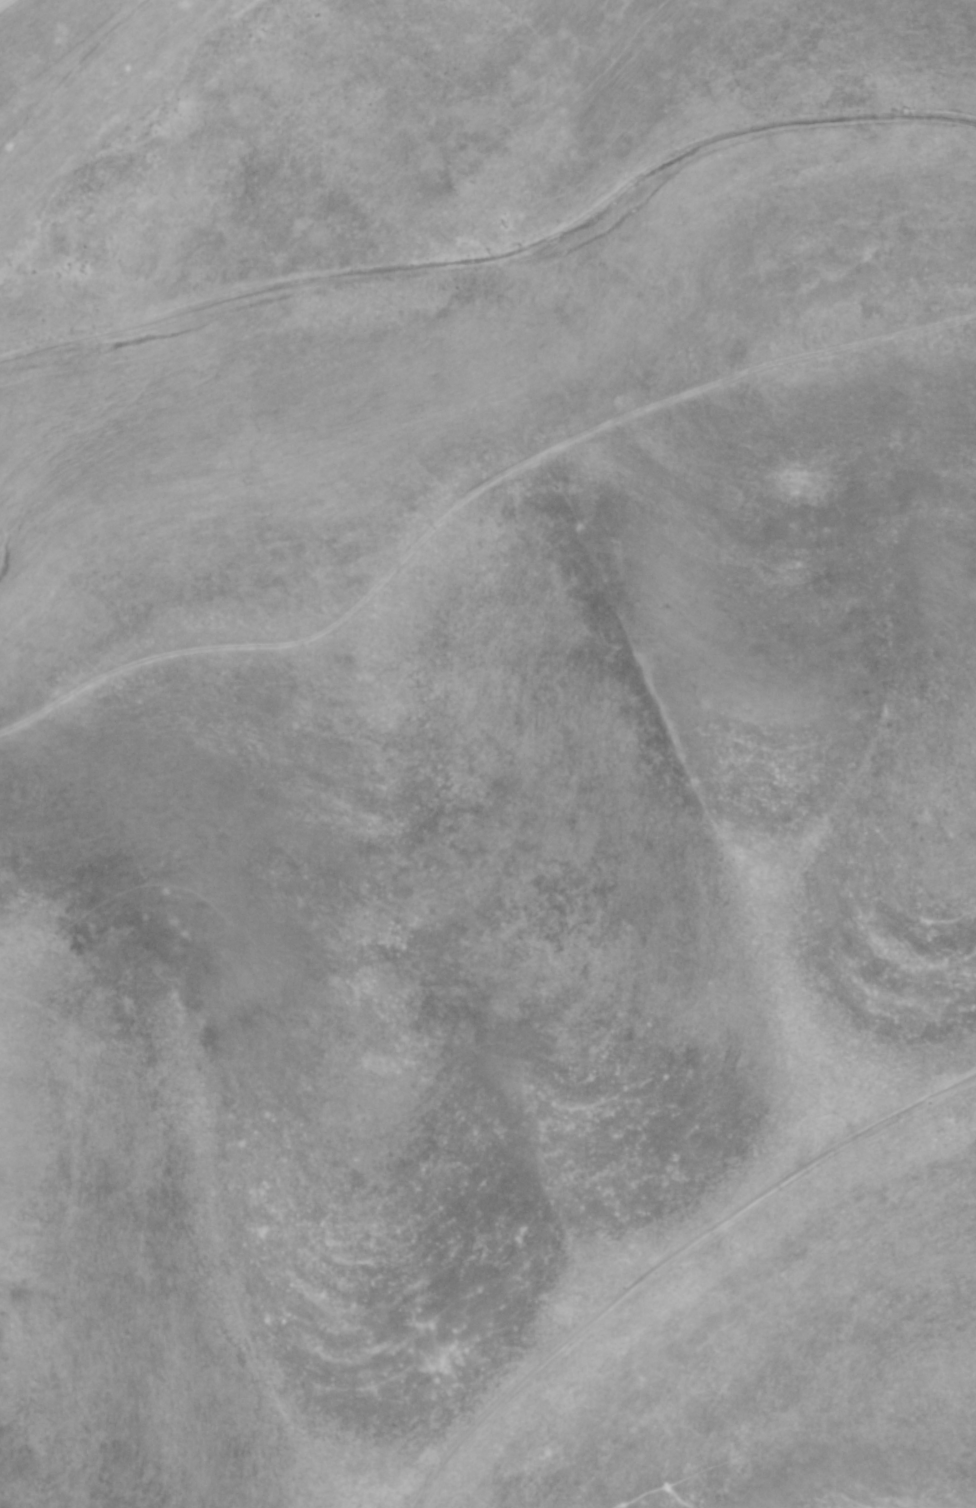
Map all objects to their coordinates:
road: (1, 0)
road: (68, 52)
road: (110, 114)
road: (500, 258)
road: (667, 1256)

